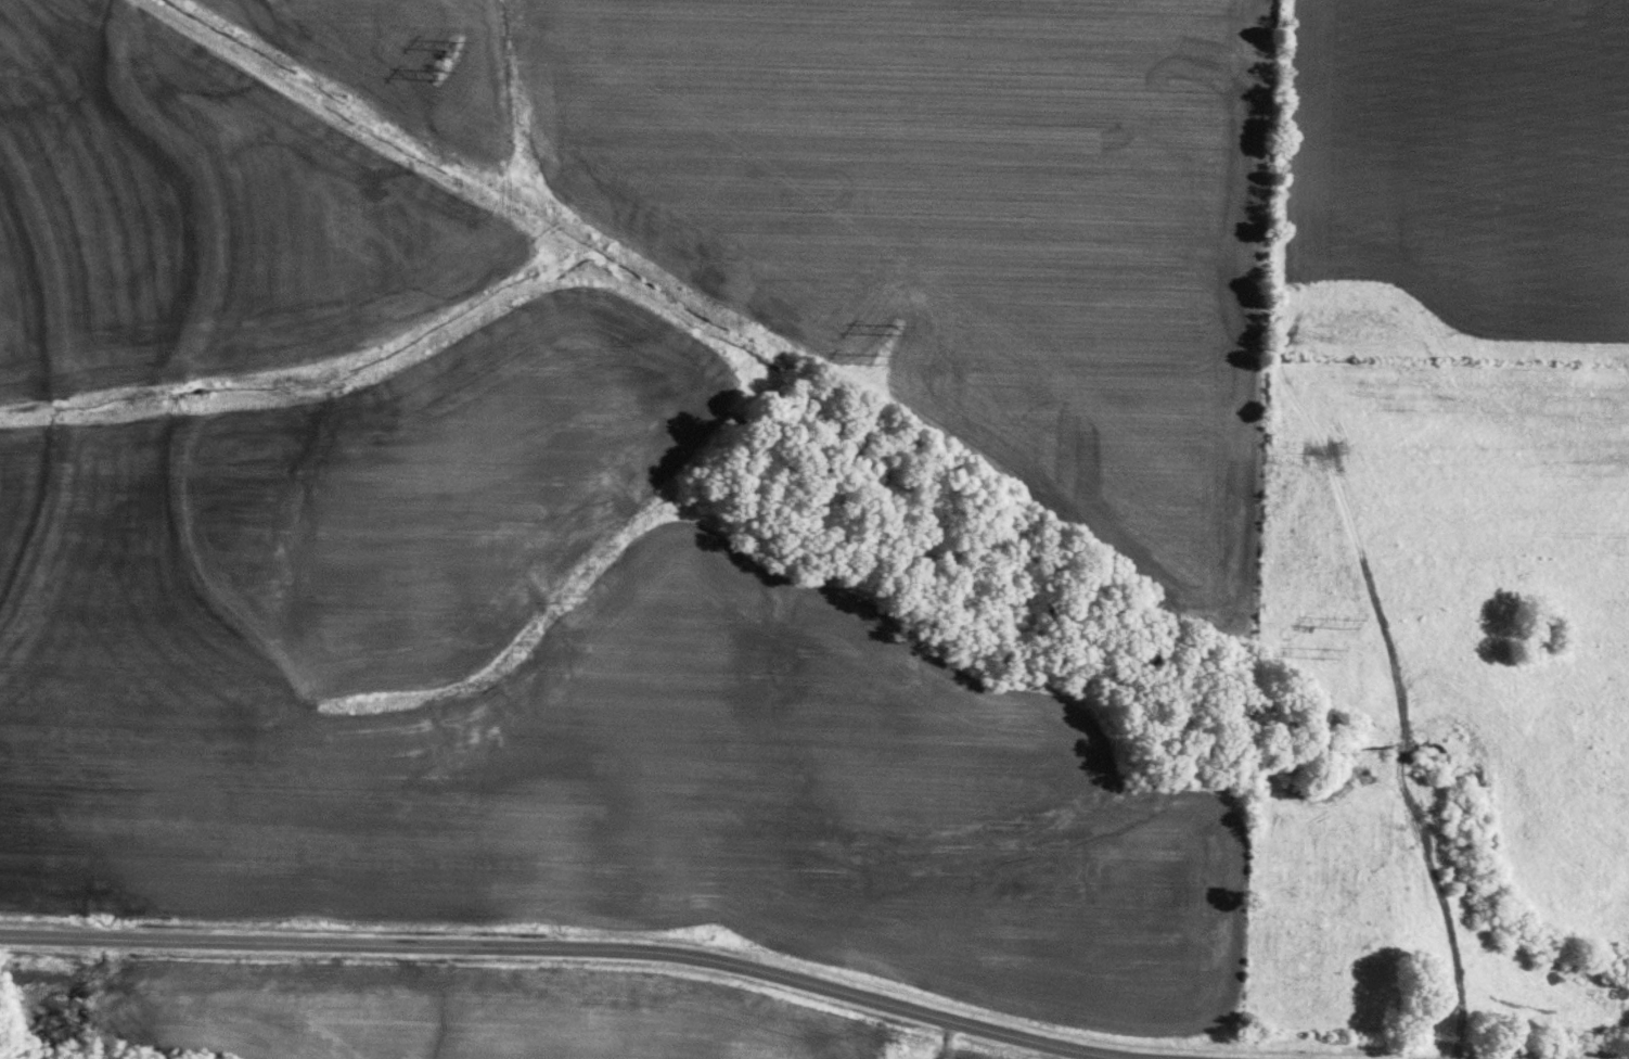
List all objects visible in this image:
power tower: (461, 44)
power tower: (438, 71)
power tower: (898, 331)
power tower: (874, 357)
power tower: (1346, 620)
power tower: (1331, 652)
road: (564, 947)

